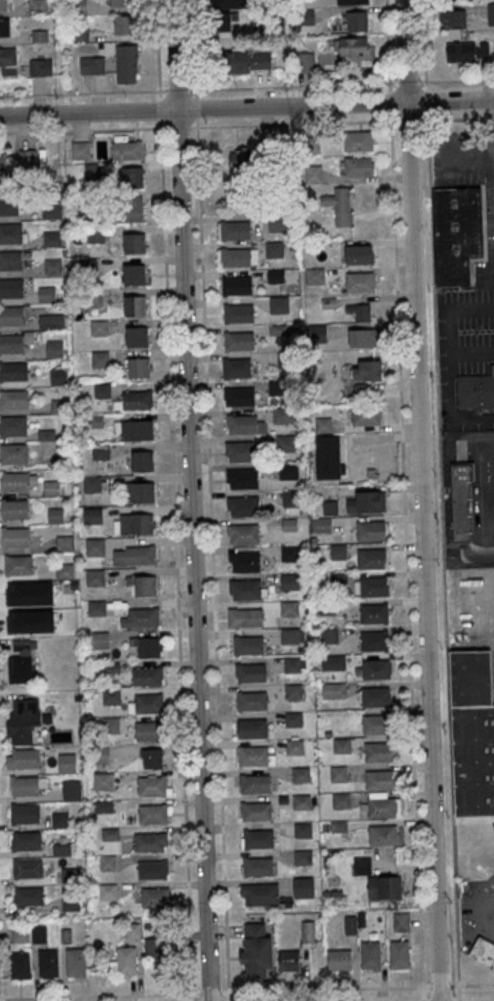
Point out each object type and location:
building: (453, 0)
building: (352, 2)
building: (122, 3)
building: (3, 5)
building: (37, 7)
building: (490, 13)
building: (306, 17)
building: (452, 18)
building: (222, 20)
building: (356, 20)
building: (125, 25)
building: (4, 28)
building: (79, 32)
road: (193, 45)
building: (351, 47)
road: (423, 51)
building: (467, 51)
building: (247, 60)
building: (8, 61)
building: (305, 62)
building: (127, 63)
building: (90, 65)
building: (40, 67)
road: (459, 81)
road: (97, 92)
road: (450, 102)
road: (291, 107)
road: (87, 113)
road: (246, 125)
building: (358, 141)
building: (127, 150)
building: (78, 151)
building: (27, 161)
building: (241, 161)
building: (7, 162)
building: (357, 165)
building: (313, 173)
building: (132, 177)
building: (9, 205)
building: (340, 206)
building: (127, 209)
building: (51, 210)
building: (277, 224)
building: (234, 230)
building: (456, 232)
building: (10, 233)
building: (96, 235)
building: (51, 239)
building: (134, 243)
building: (274, 249)
building: (359, 254)
building: (237, 257)
building: (10, 260)
building: (53, 266)
parking lot: (484, 273)
building: (134, 274)
building: (275, 275)
building: (314, 276)
building: (360, 281)
building: (236, 285)
building: (11, 287)
building: (46, 294)
building: (279, 304)
building: (135, 305)
building: (359, 311)
building: (238, 313)
building: (11, 315)
building: (51, 322)
building: (317, 333)
building: (137, 336)
building: (364, 337)
building: (238, 341)
building: (11, 343)
building: (54, 348)
building: (100, 360)
road: (452, 365)
building: (238, 367)
building: (138, 368)
building: (367, 370)
building: (13, 371)
building: (57, 377)
building: (475, 390)
building: (239, 396)
building: (13, 399)
building: (135, 400)
building: (282, 415)
building: (367, 415)
building: (242, 423)
building: (12, 425)
building: (133, 430)
road: (207, 430)
building: (285, 443)
building: (239, 451)
building: (13, 453)
building: (327, 456)
building: (142, 461)
building: (288, 471)
building: (243, 478)
building: (14, 482)
building: (92, 484)
building: (51, 488)
building: (143, 492)
road: (403, 492)
building: (291, 498)
road: (173, 500)
road: (190, 500)
road: (420, 500)
building: (461, 500)
building: (370, 502)
building: (243, 507)
building: (330, 507)
building: (15, 509)
building: (55, 515)
building: (92, 515)
building: (133, 524)
building: (322, 525)
building: (370, 531)
building: (243, 533)
building: (16, 537)
building: (64, 542)
building: (95, 547)
building: (338, 552)
building: (289, 553)
building: (134, 555)
building: (371, 558)
building: (244, 562)
building: (17, 565)
building: (64, 570)
building: (94, 577)
building: (338, 579)
building: (289, 581)
building: (142, 585)
building: (373, 586)
building: (246, 589)
building: (23, 596)
building: (326, 607)
building: (96, 608)
building: (289, 608)
building: (374, 613)
parking lot: (476, 613)
building: (247, 617)
building: (142, 618)
building: (289, 635)
building: (329, 635)
building: (100, 639)
building: (374, 641)
building: (248, 645)
building: (147, 646)
building: (21, 661)
building: (336, 662)
building: (292, 664)
building: (375, 669)
building: (251, 673)
building: (148, 676)
building: (337, 689)
building: (293, 691)
building: (375, 696)
building: (111, 697)
building: (251, 700)
building: (146, 703)
building: (293, 718)
building: (22, 720)
building: (110, 725)
building: (377, 725)
building: (252, 727)
building: (148, 730)
building: (472, 732)
building: (342, 745)
building: (294, 747)
building: (378, 752)
building: (253, 755)
building: (25, 758)
building: (152, 758)
building: (66, 763)
building: (338, 774)
building: (300, 775)
building: (379, 780)
building: (103, 782)
building: (254, 782)
building: (24, 785)
building: (152, 786)
building: (71, 790)
building: (341, 800)
building: (301, 802)
building: (382, 808)
building: (255, 811)
building: (26, 813)
building: (153, 813)
building: (59, 820)
building: (302, 829)
building: (383, 835)
building: (258, 838)
building: (27, 841)
building: (149, 842)
building: (61, 849)
building: (107, 863)
building: (362, 864)
building: (258, 866)
building: (28, 868)
building: (151, 869)
building: (70, 875)
building: (303, 887)
building: (384, 887)
building: (107, 891)
building: (260, 894)
building: (29, 896)
building: (155, 897)
building: (71, 902)
road: (485, 908)
building: (401, 921)
building: (132, 931)
building: (307, 931)
building: (39, 934)
building: (20, 935)
building: (157, 947)
building: (257, 950)
building: (483, 951)
building: (370, 955)
building: (399, 955)
building: (339, 959)
building: (75, 962)
building: (124, 962)
building: (289, 962)
building: (48, 964)
building: (19, 965)
road: (476, 984)
road: (440, 985)
road: (325, 988)
road: (114, 995)

